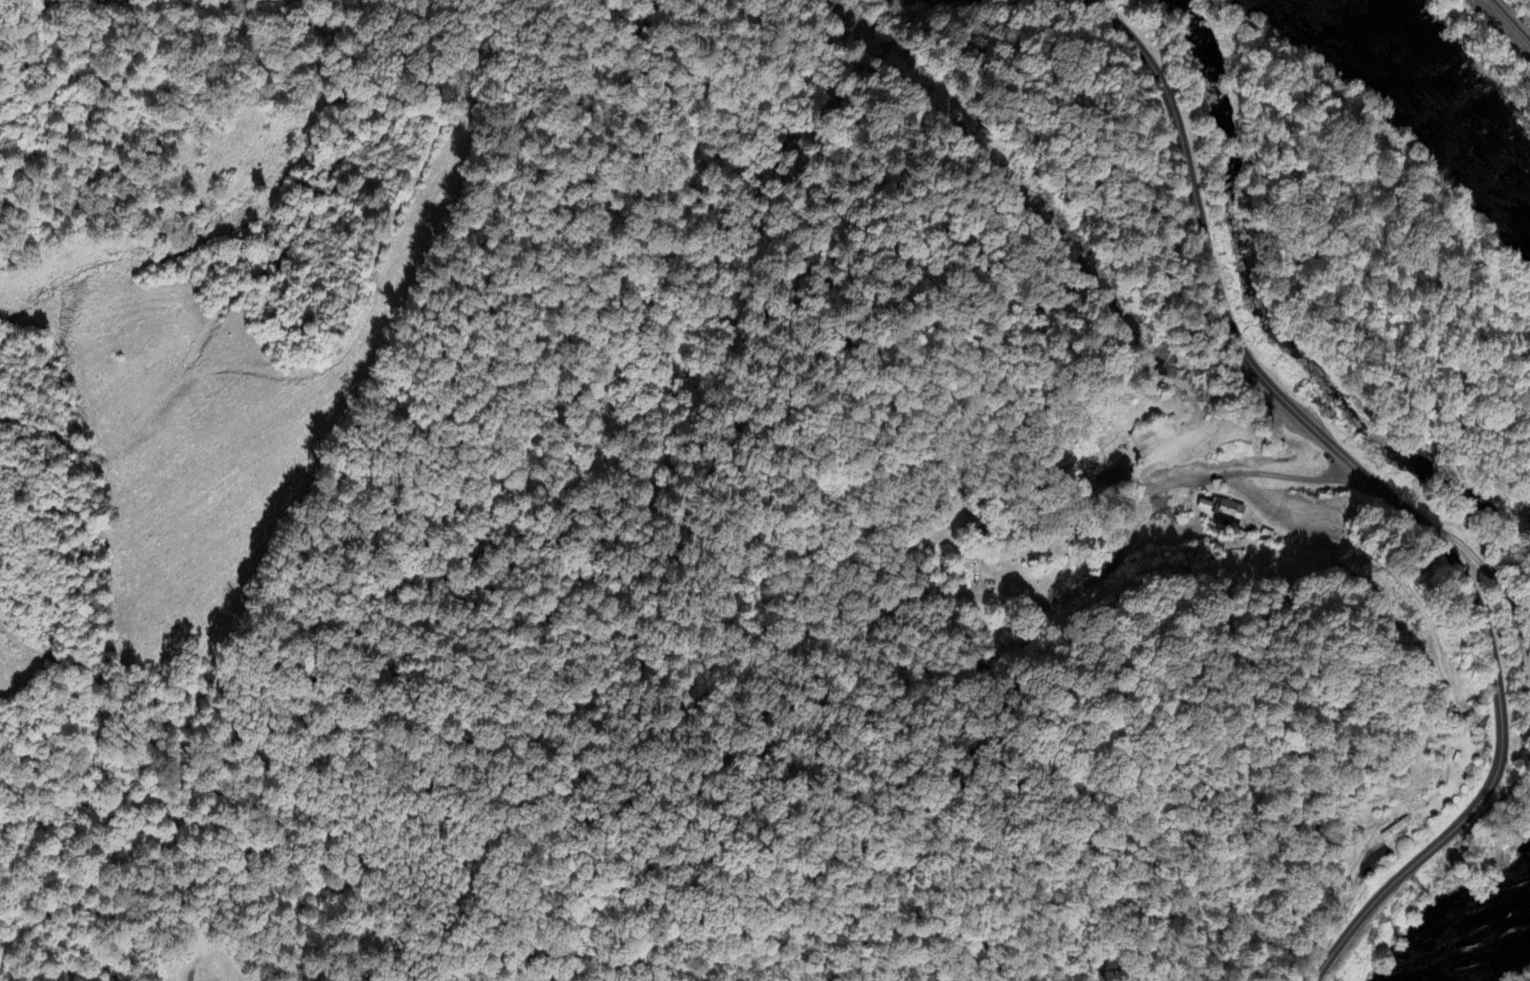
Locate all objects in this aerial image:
railway: (1510, 21)
river: (1429, 117)
building: (1152, 435)
road: (1270, 473)
road: (1386, 493)
building: (1229, 513)
river: (1467, 926)

